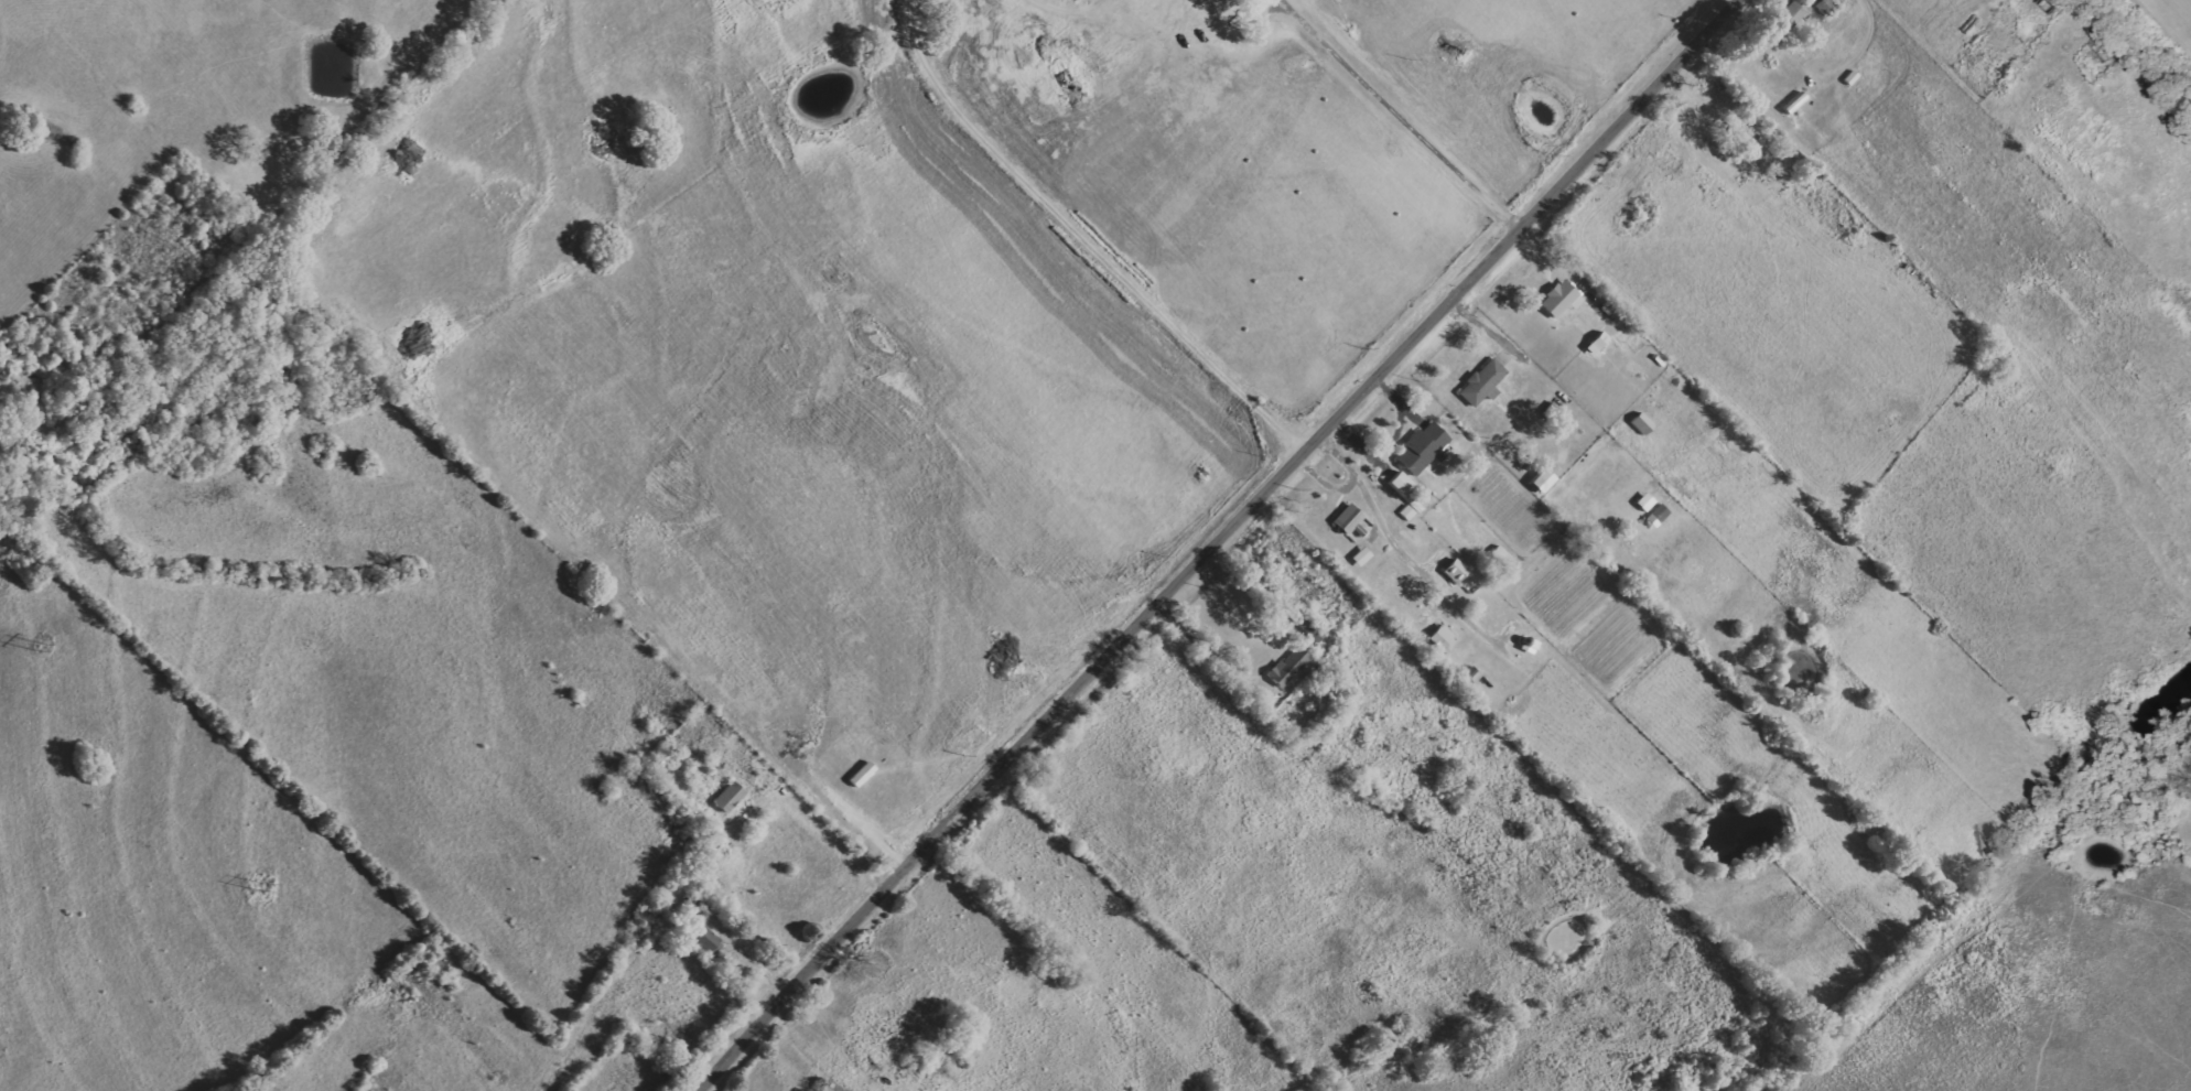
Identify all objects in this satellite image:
building: (1826, 6)
building: (1792, 14)
road: (1399, 112)
building: (1563, 299)
building: (1485, 382)
building: (1425, 449)
building: (1407, 495)
building: (1647, 501)
building: (1660, 515)
building: (1350, 518)
road: (1209, 540)
building: (1363, 555)
building: (1457, 571)
building: (1445, 638)
power tower: (37, 639)
building: (1291, 666)
building: (731, 797)
power tower: (260, 883)
building: (706, 938)

